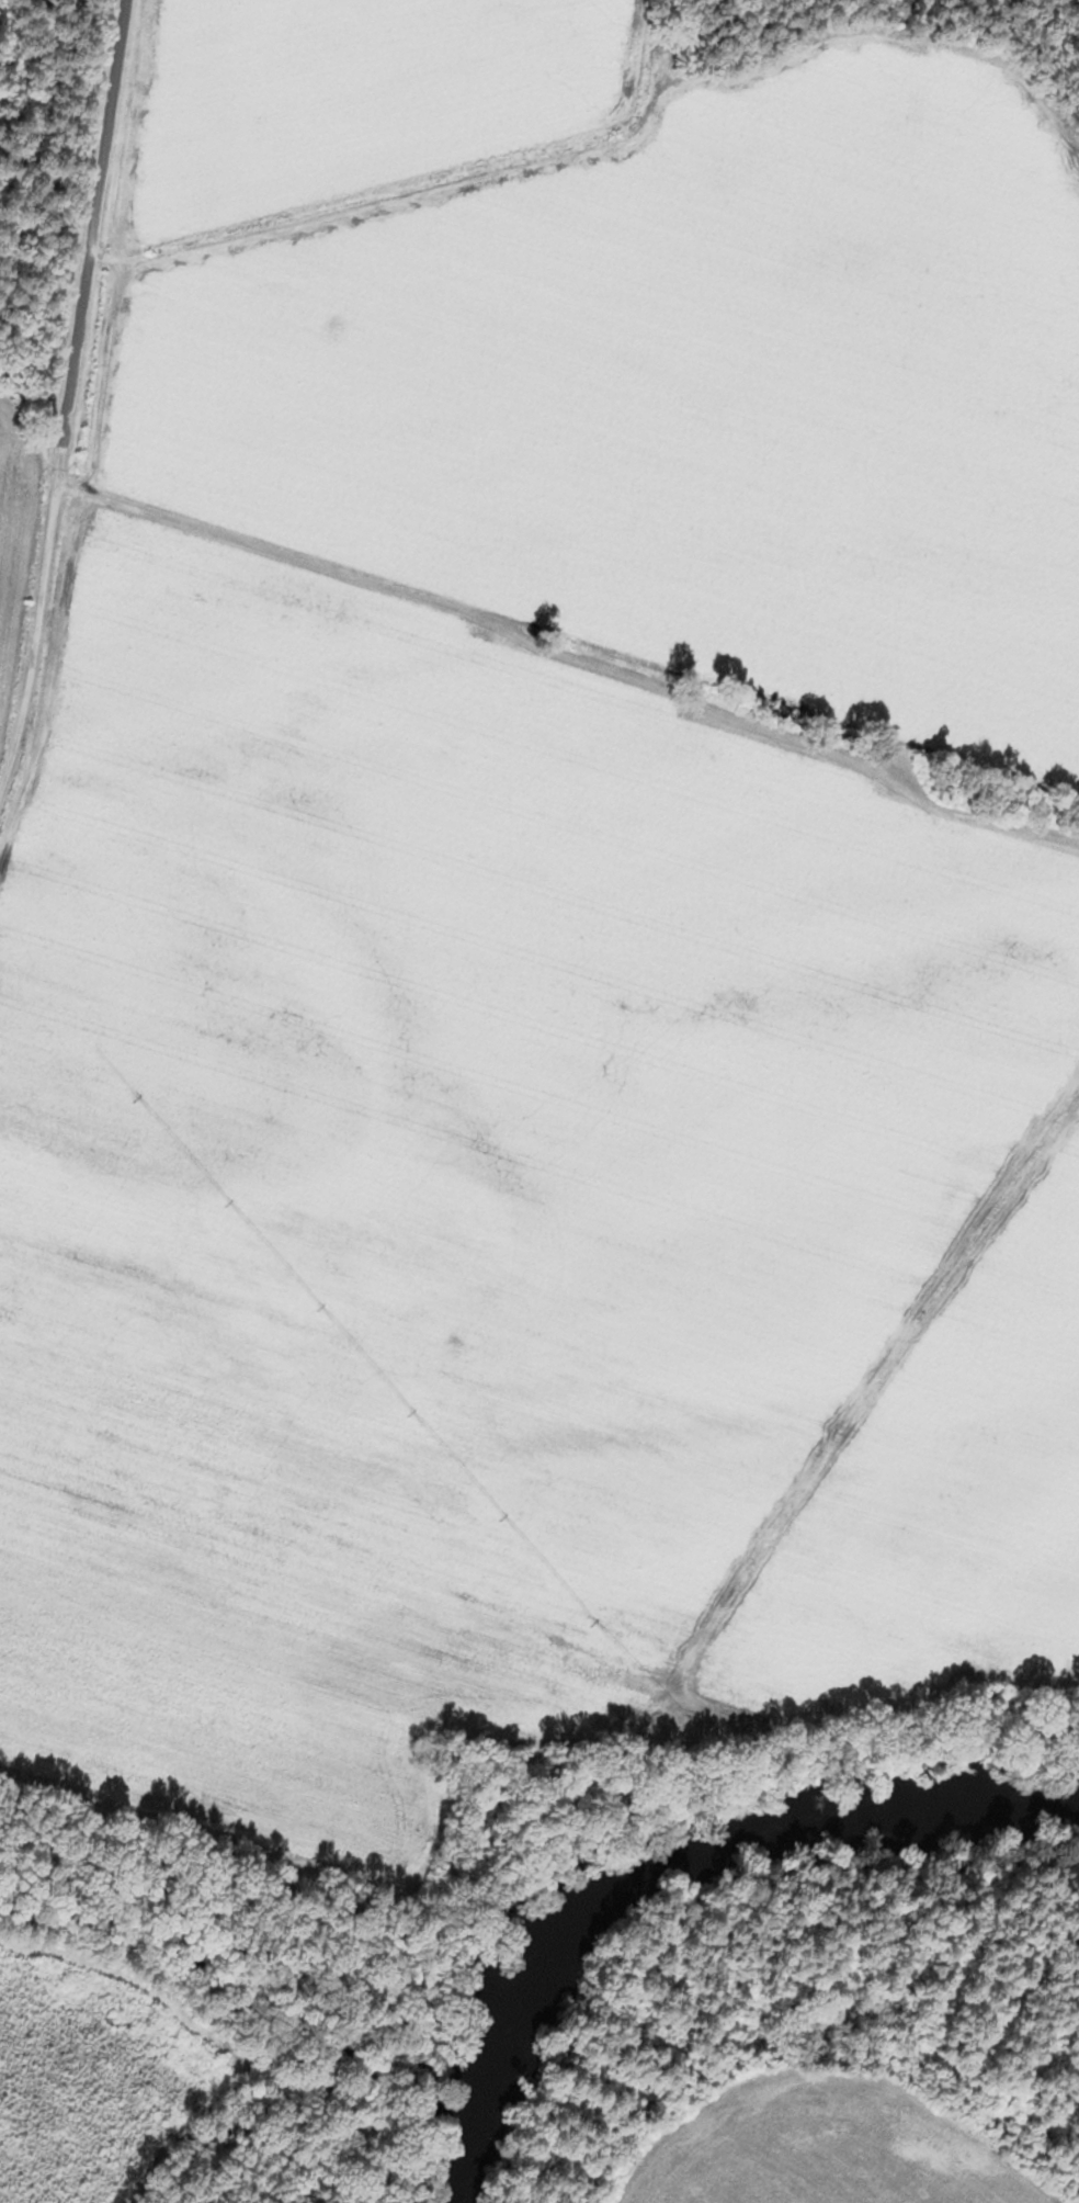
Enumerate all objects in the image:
road: (88, 240)
road: (421, 597)
river: (691, 1855)
river: (457, 2168)

